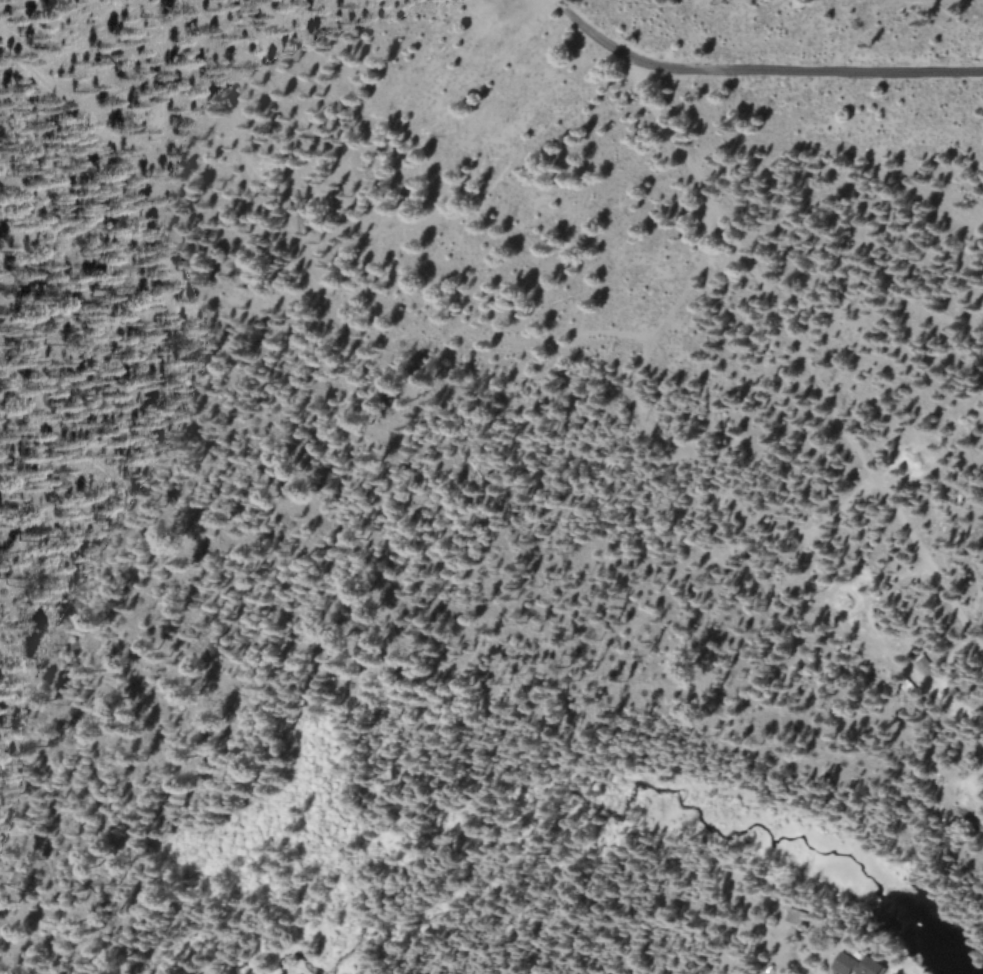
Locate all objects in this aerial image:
road: (599, 33)
road: (809, 73)
road: (969, 712)
building: (874, 968)

